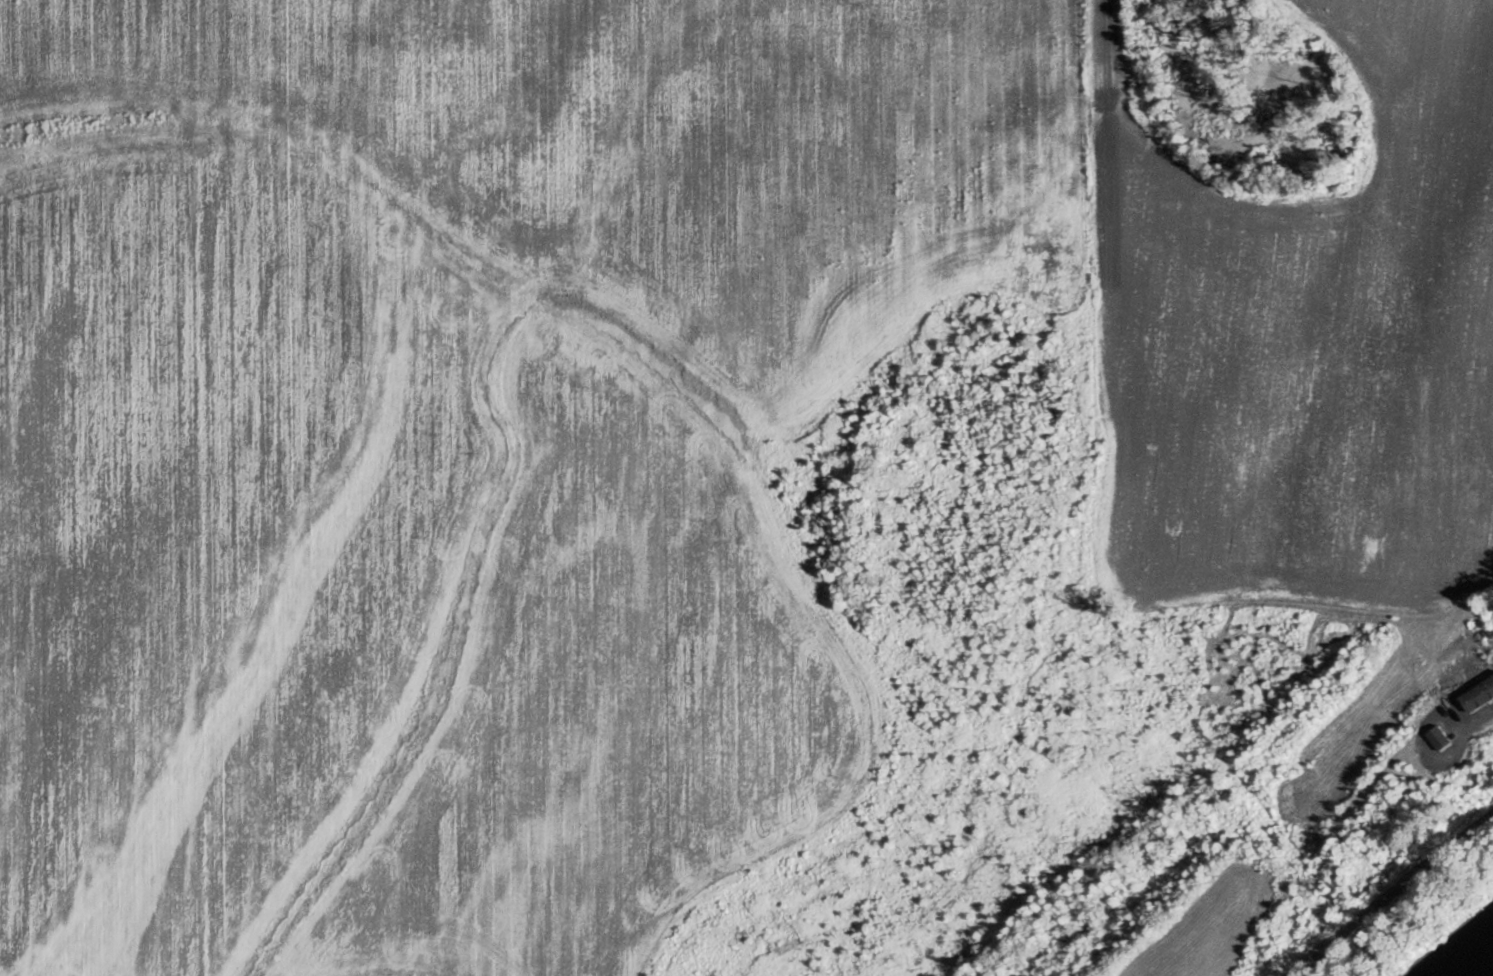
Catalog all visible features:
road: (1390, 892)

